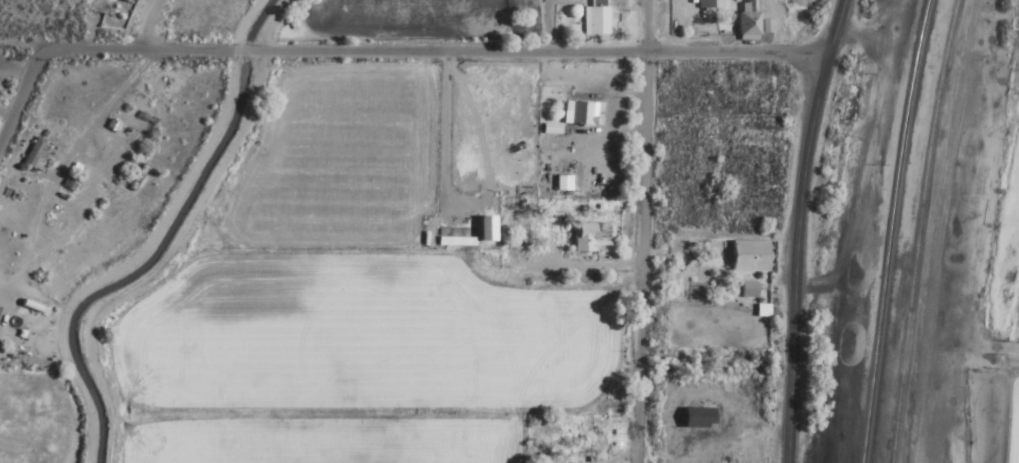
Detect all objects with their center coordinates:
building: (702, 4)
building: (744, 20)
building: (595, 21)
road: (649, 27)
road: (737, 53)
road: (345, 54)
road: (21, 97)
building: (577, 114)
building: (34, 155)
building: (561, 183)
road: (796, 229)
railway: (853, 230)
railway: (889, 230)
railway: (916, 230)
building: (589, 237)
building: (747, 256)
road: (646, 258)
building: (746, 290)
crop: (1012, 393)
building: (693, 418)

